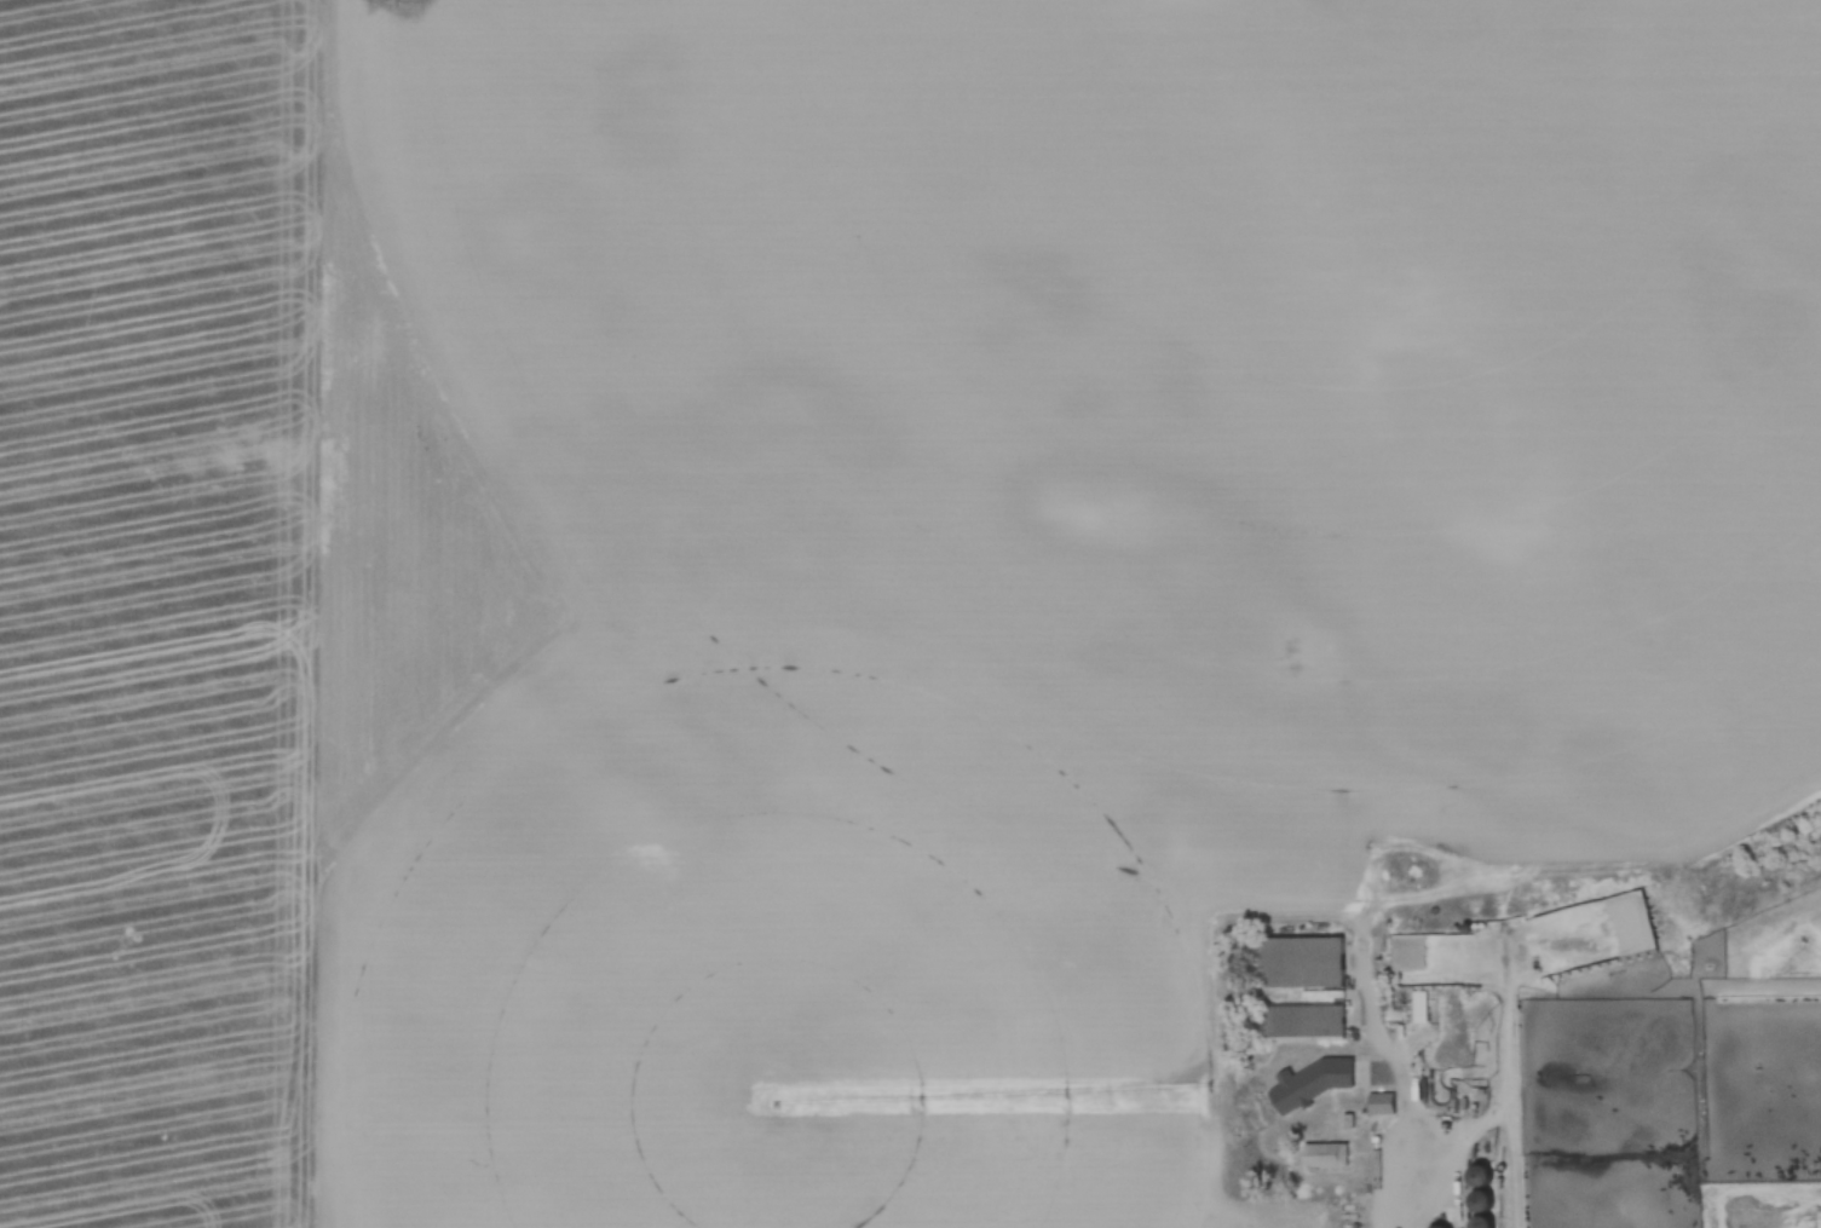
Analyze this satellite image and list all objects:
building: (1470, 928)
building: (1307, 962)
building: (1307, 1024)
road: (1504, 1073)
road: (1390, 1077)
building: (1382, 1105)
building: (1327, 1155)
building: (1483, 1176)
silo: (1483, 1176)
building: (1483, 1203)
silo: (1483, 1203)
building: (1485, 1223)
silo: (1485, 1223)

